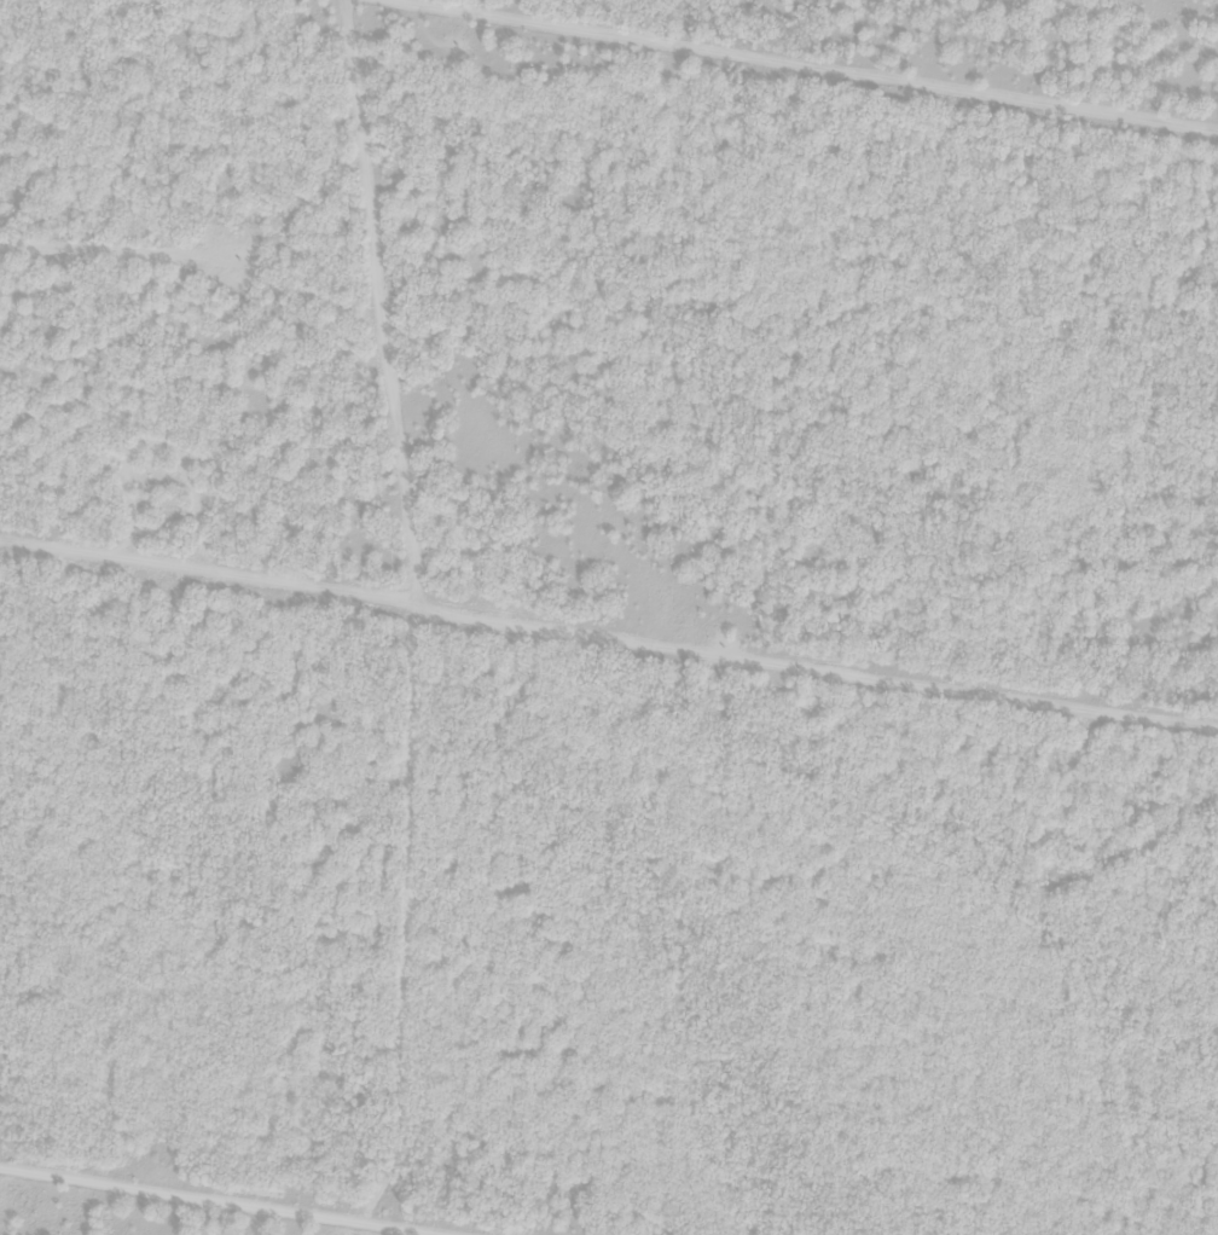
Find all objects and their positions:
road: (337, 1187)

